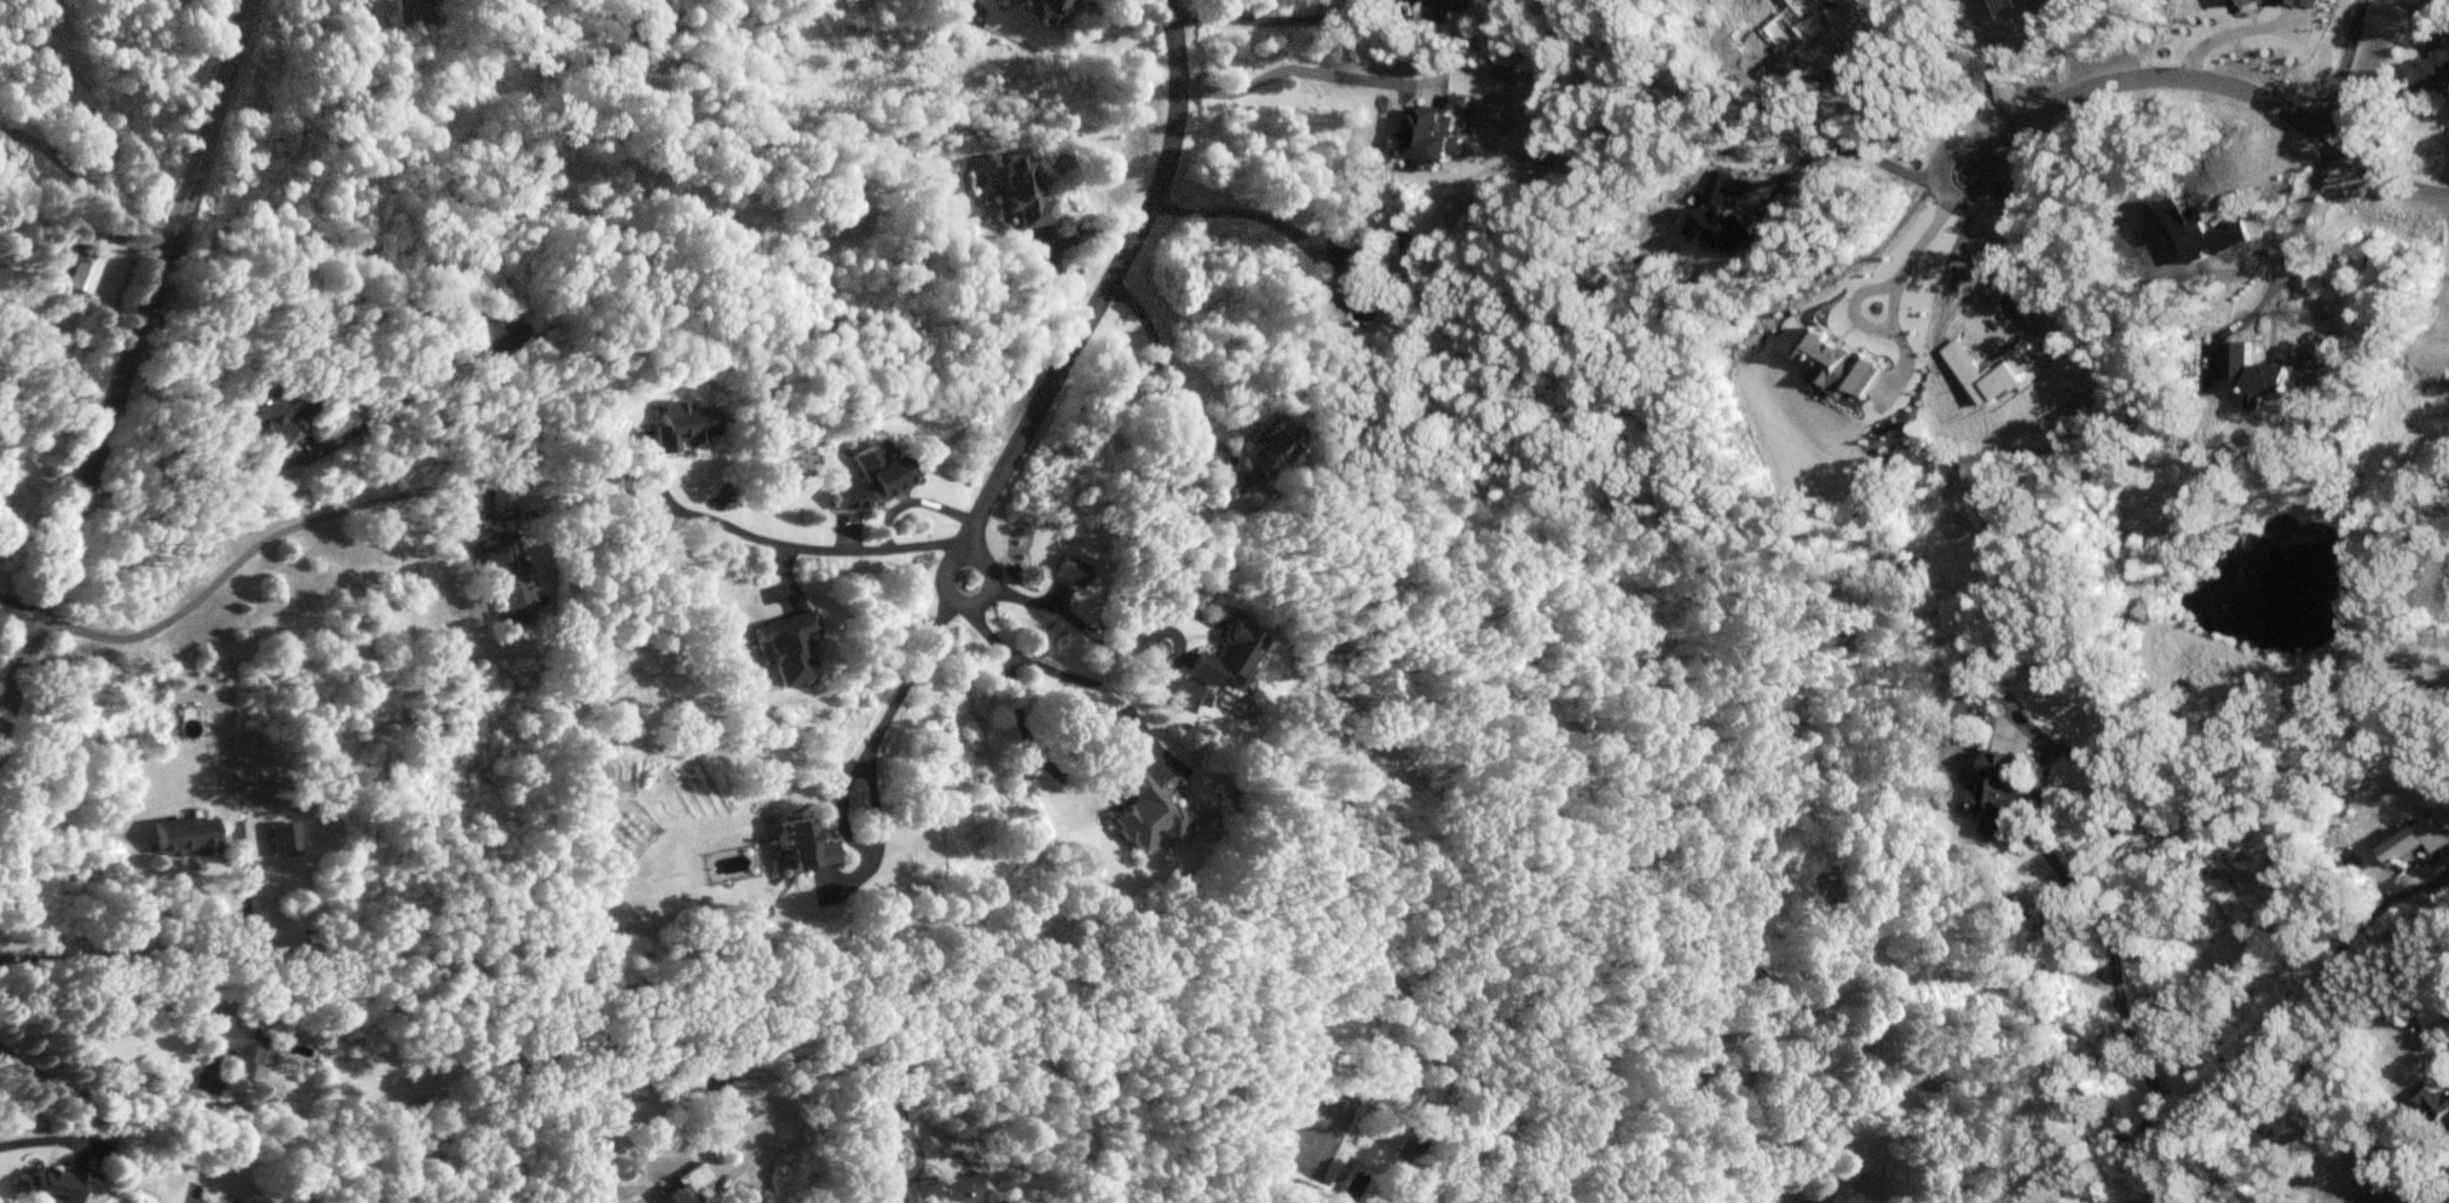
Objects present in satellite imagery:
building: (1053, 10)
building: (416, 12)
road: (1275, 19)
road: (2225, 34)
building: (2428, 64)
road: (2334, 65)
road: (2009, 69)
road: (1306, 71)
road: (2222, 79)
road: (1875, 118)
road: (1843, 149)
road: (87, 185)
building: (1021, 190)
road: (1943, 193)
road: (1248, 214)
road: (1073, 237)
road: (2288, 242)
road: (1970, 264)
road: (1114, 265)
building: (79, 271)
building: (1346, 285)
road: (1893, 299)
road: (441, 310)
building: (502, 335)
road: (127, 366)
road: (1162, 374)
building: (271, 411)
building: (681, 424)
building: (1260, 455)
building: (871, 476)
road: (914, 499)
building: (501, 502)
road: (797, 544)
road: (246, 548)
building: (507, 577)
road: (22, 598)
road: (965, 601)
road: (1116, 640)
building: (787, 644)
building: (1229, 658)
road: (1114, 734)
road: (851, 773)
building: (1997, 796)
building: (1146, 810)
building: (183, 833)
building: (804, 841)
road: (2115, 845)
road: (172, 956)
building: (241, 1045)
road: (958, 1048)
building: (716, 1072)
building: (677, 1074)
road: (2214, 1081)
road: (97, 1095)
building: (2441, 1106)
road: (33, 1138)
road: (730, 1169)
road: (756, 1172)
building: (57, 1182)
building: (687, 1184)
building: (932, 1188)
building: (769, 1199)
building: (223, 1202)

